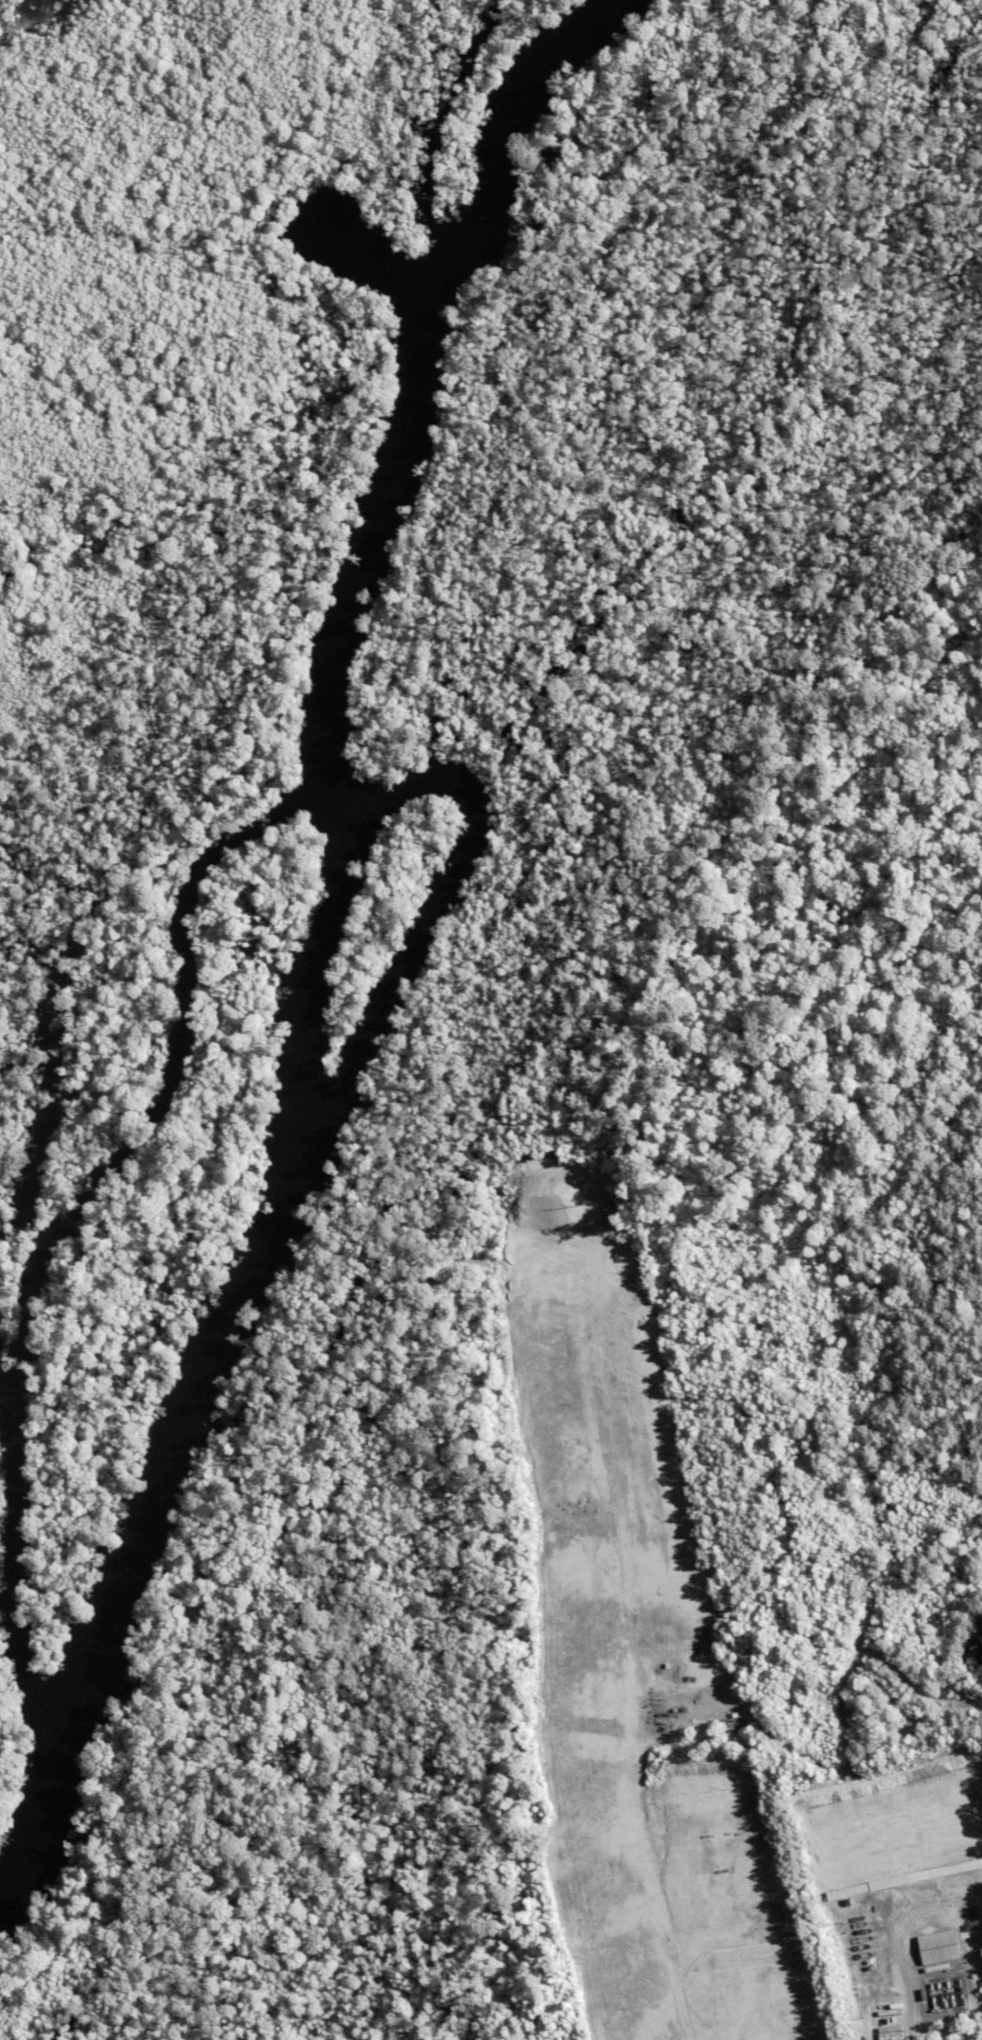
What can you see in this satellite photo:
building: (961, 1866)
road: (883, 1879)
building: (941, 1946)
building: (947, 1993)

